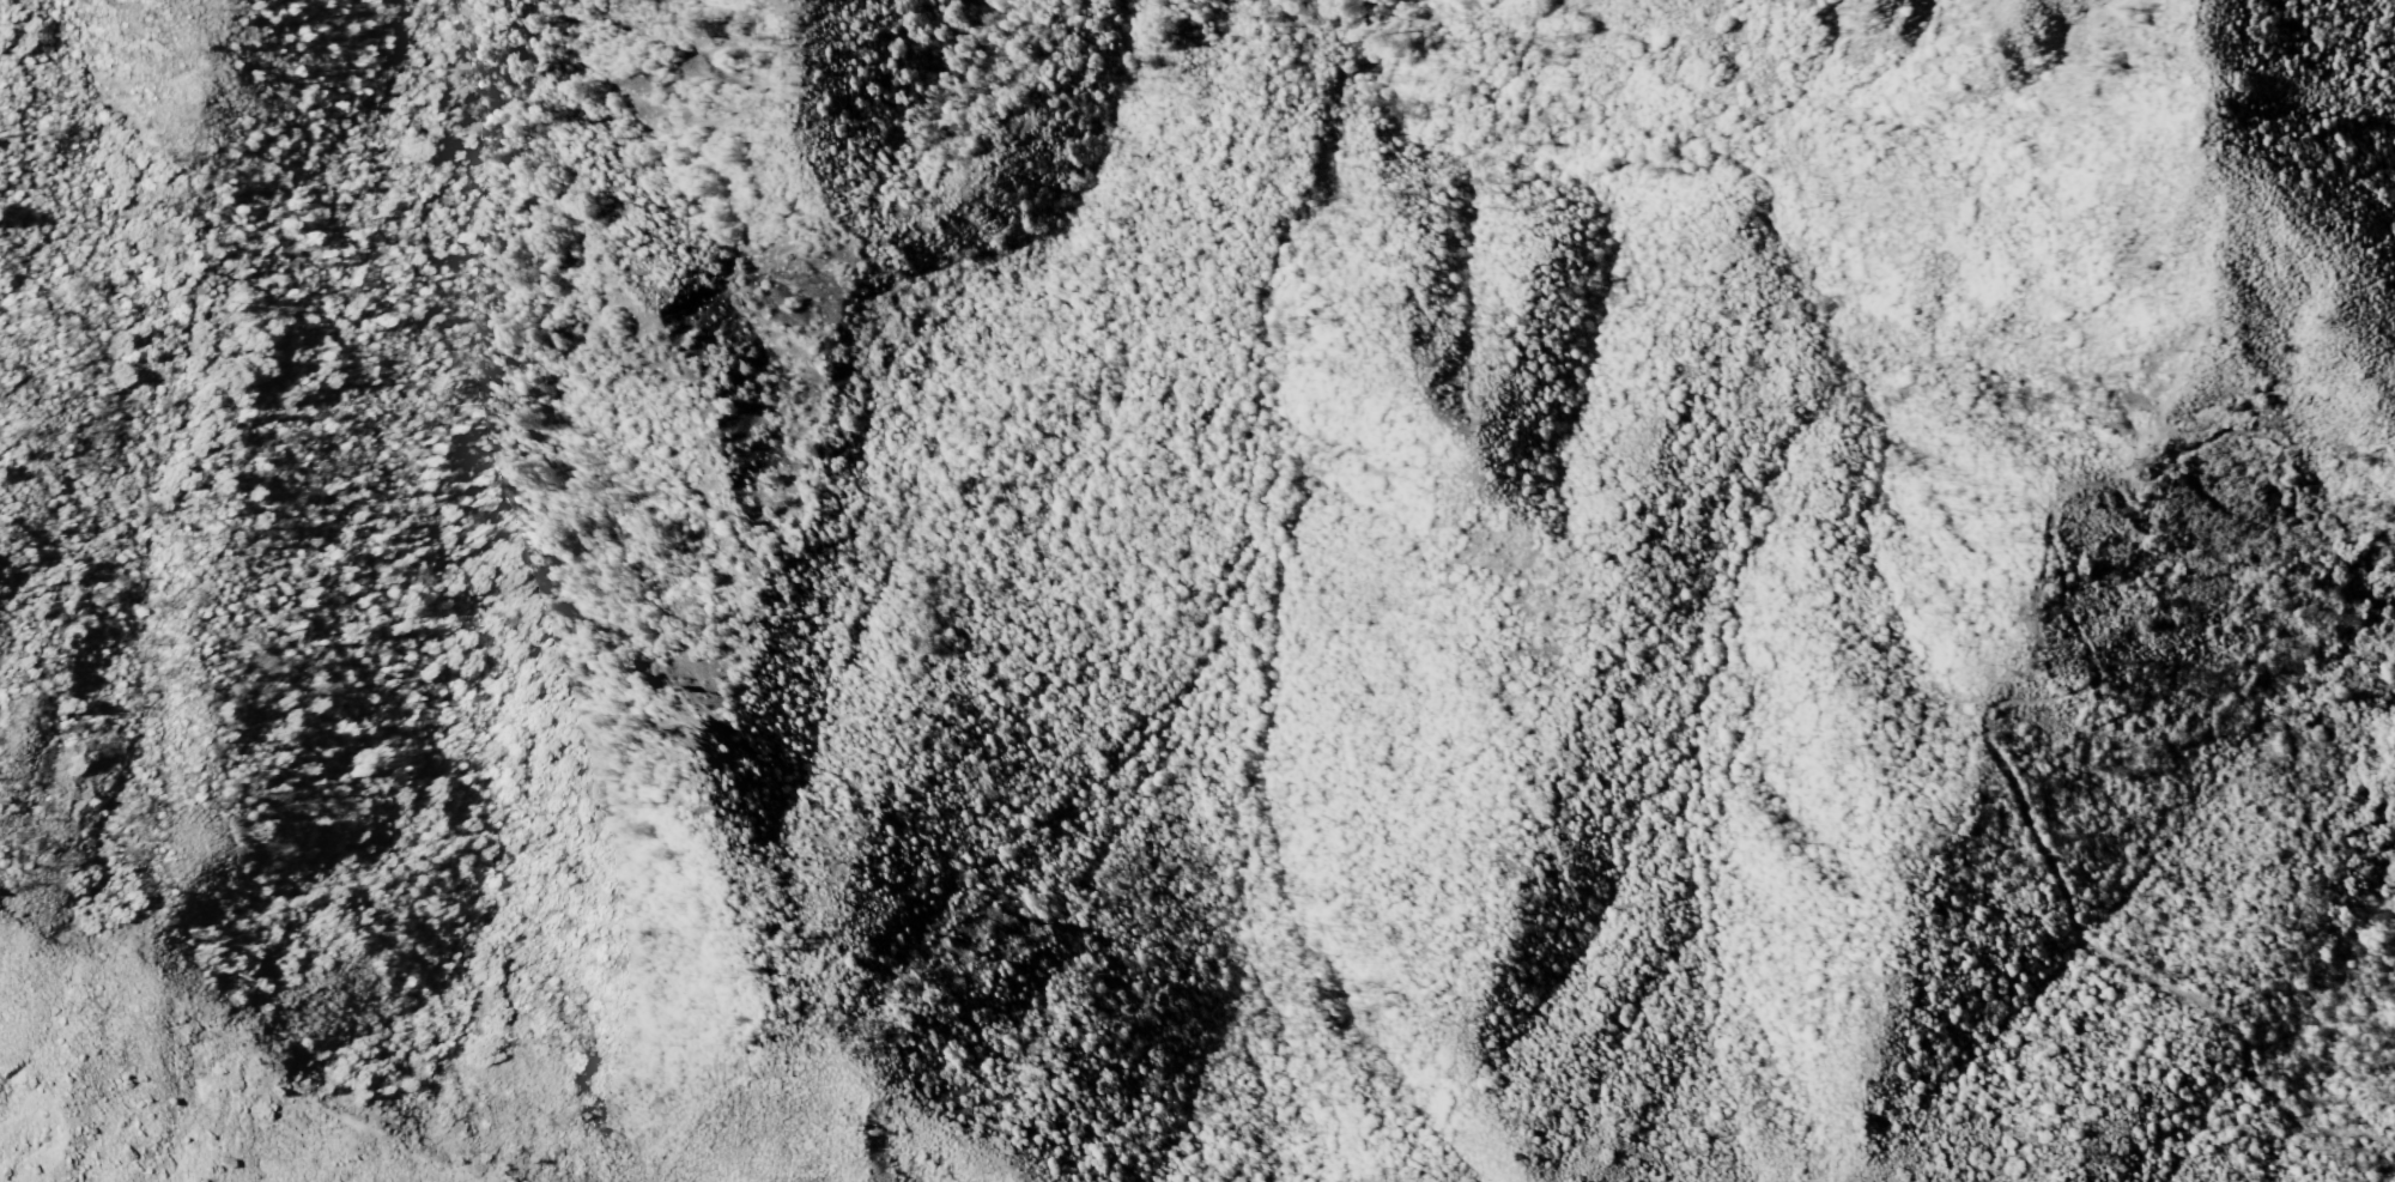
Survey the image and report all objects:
road: (2002, 697)

